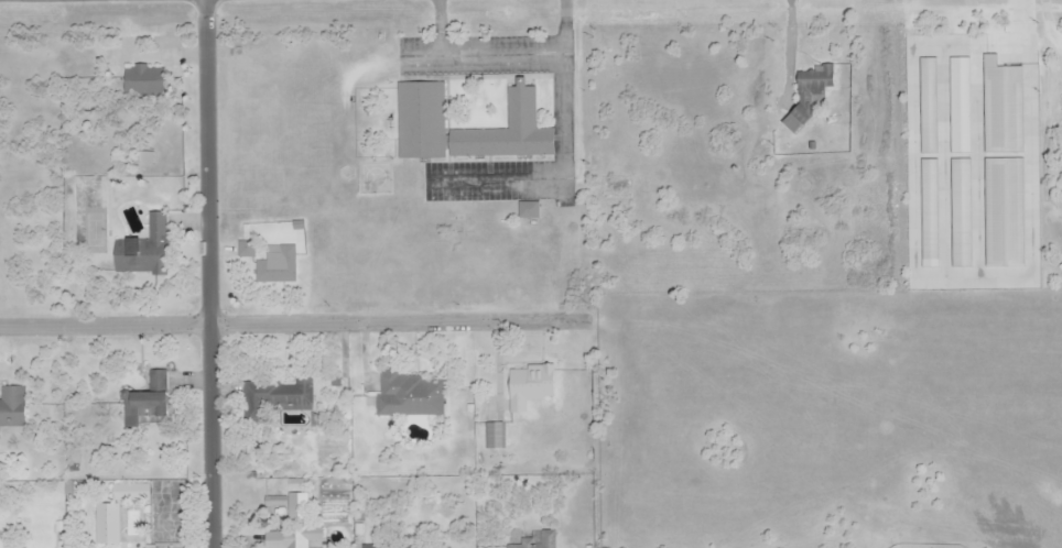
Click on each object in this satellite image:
building: (147, 80)
building: (803, 98)
building: (929, 106)
building: (960, 108)
building: (1003, 109)
building: (421, 121)
building: (512, 131)
building: (529, 212)
building: (962, 213)
building: (1005, 213)
building: (930, 216)
building: (145, 249)
building: (250, 250)
building: (275, 266)
road: (209, 274)
road: (290, 324)
building: (534, 387)
building: (280, 395)
building: (409, 397)
building: (153, 398)
building: (14, 407)
building: (292, 498)
building: (109, 525)
building: (296, 539)
building: (549, 540)
building: (3, 545)
building: (405, 547)

